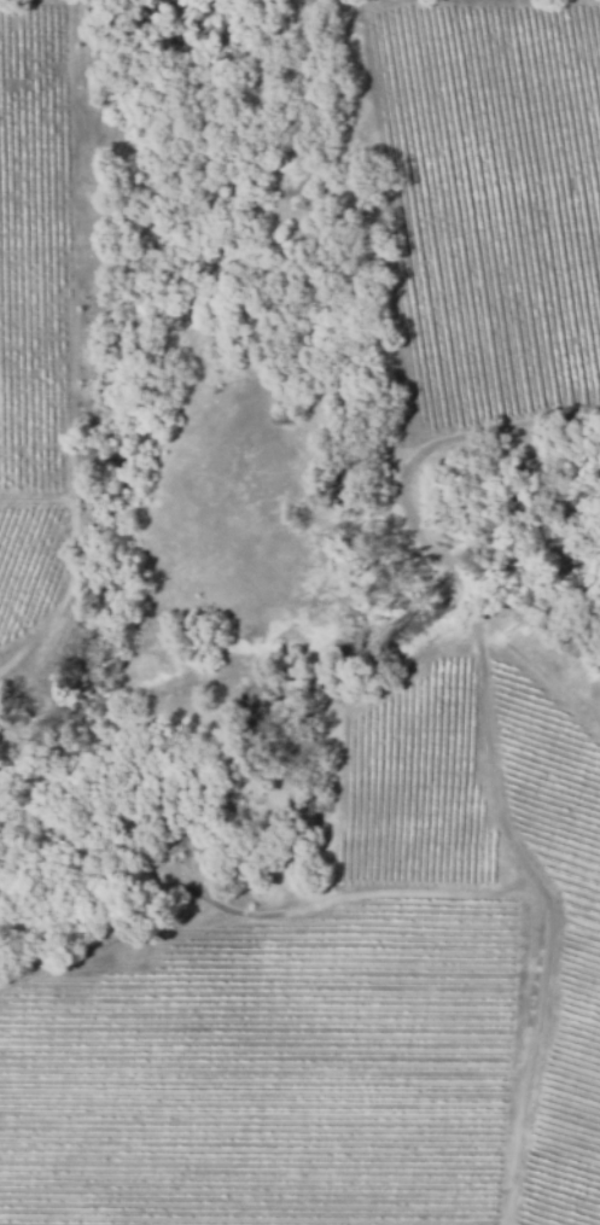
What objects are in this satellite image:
road: (167, 794)

